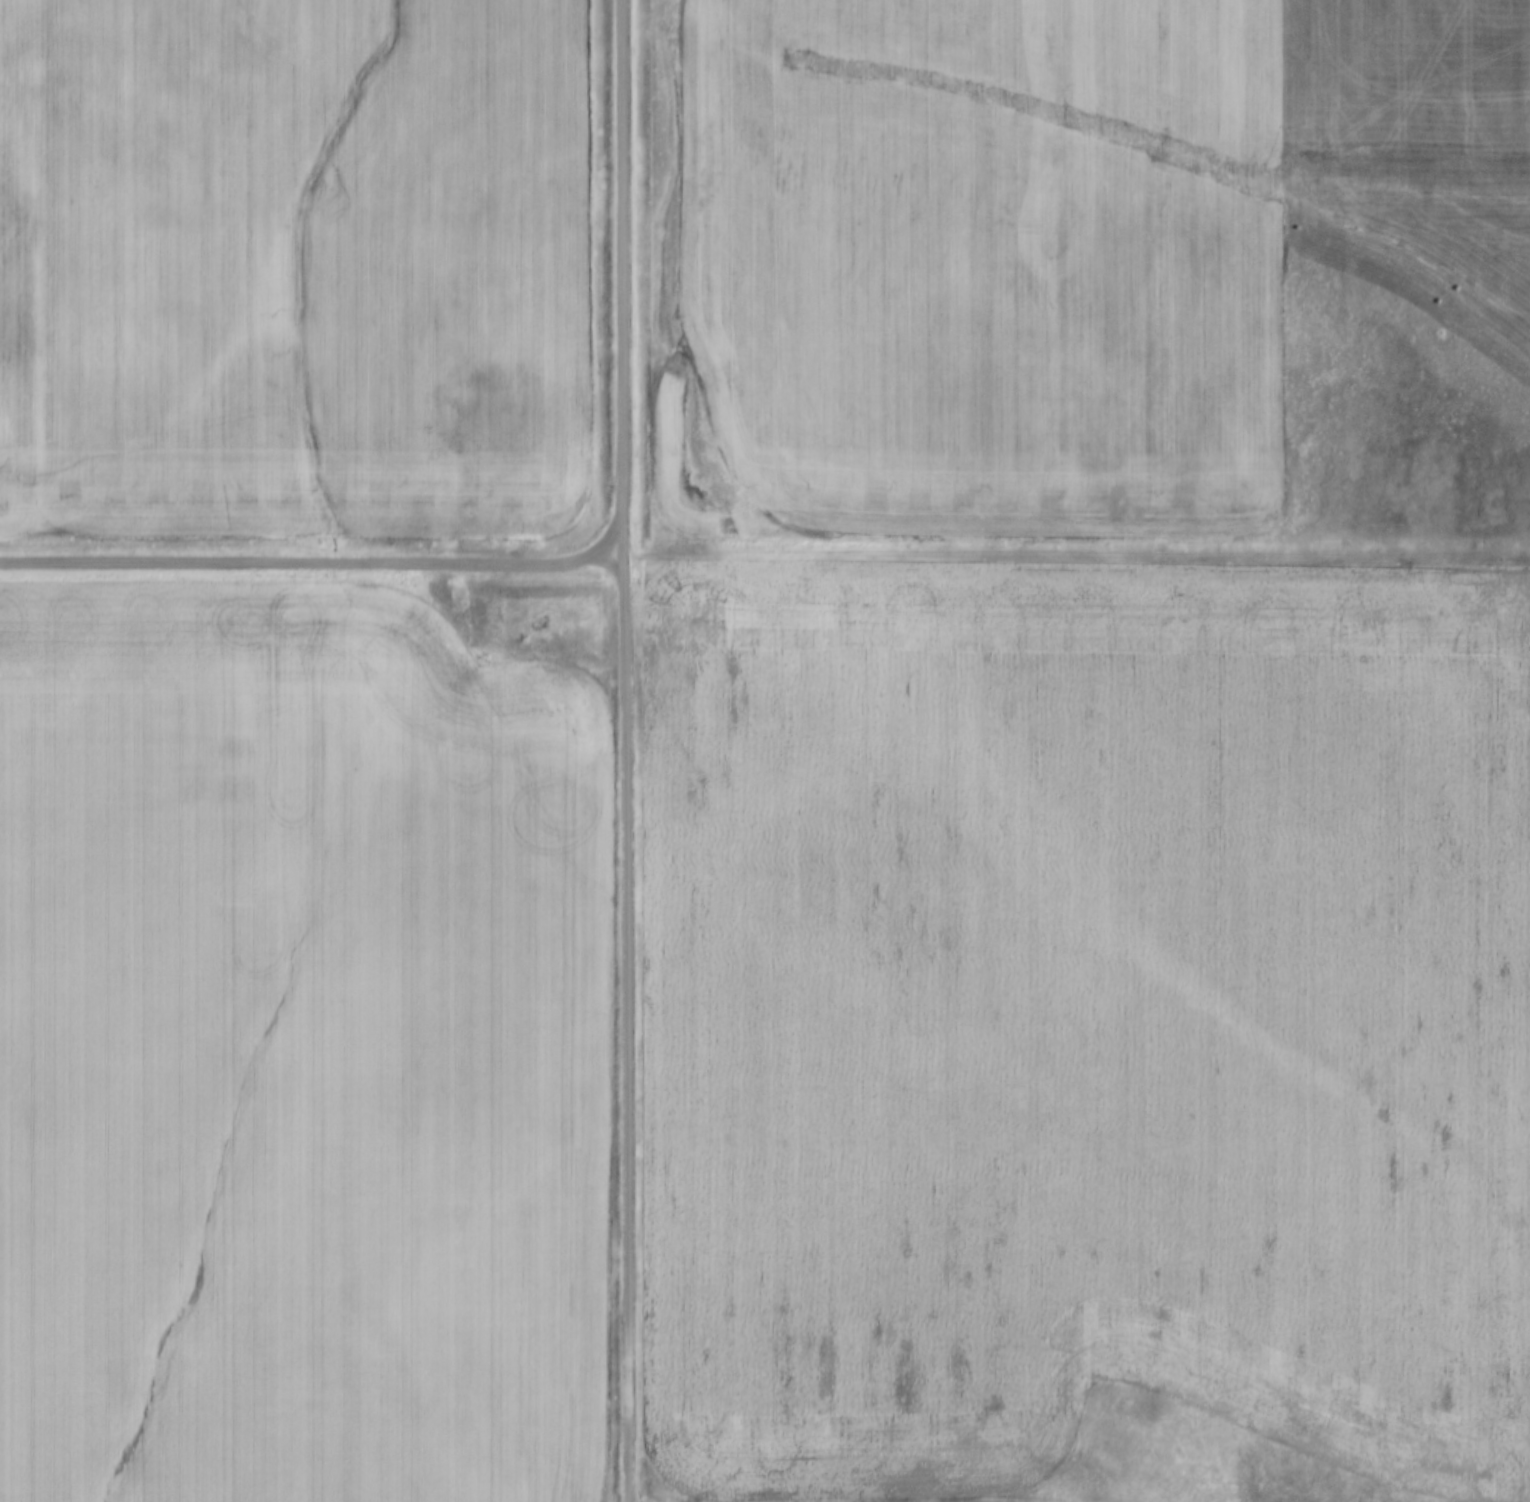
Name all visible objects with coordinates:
road: (624, 280)
road: (598, 545)
road: (312, 561)
road: (628, 1031)

